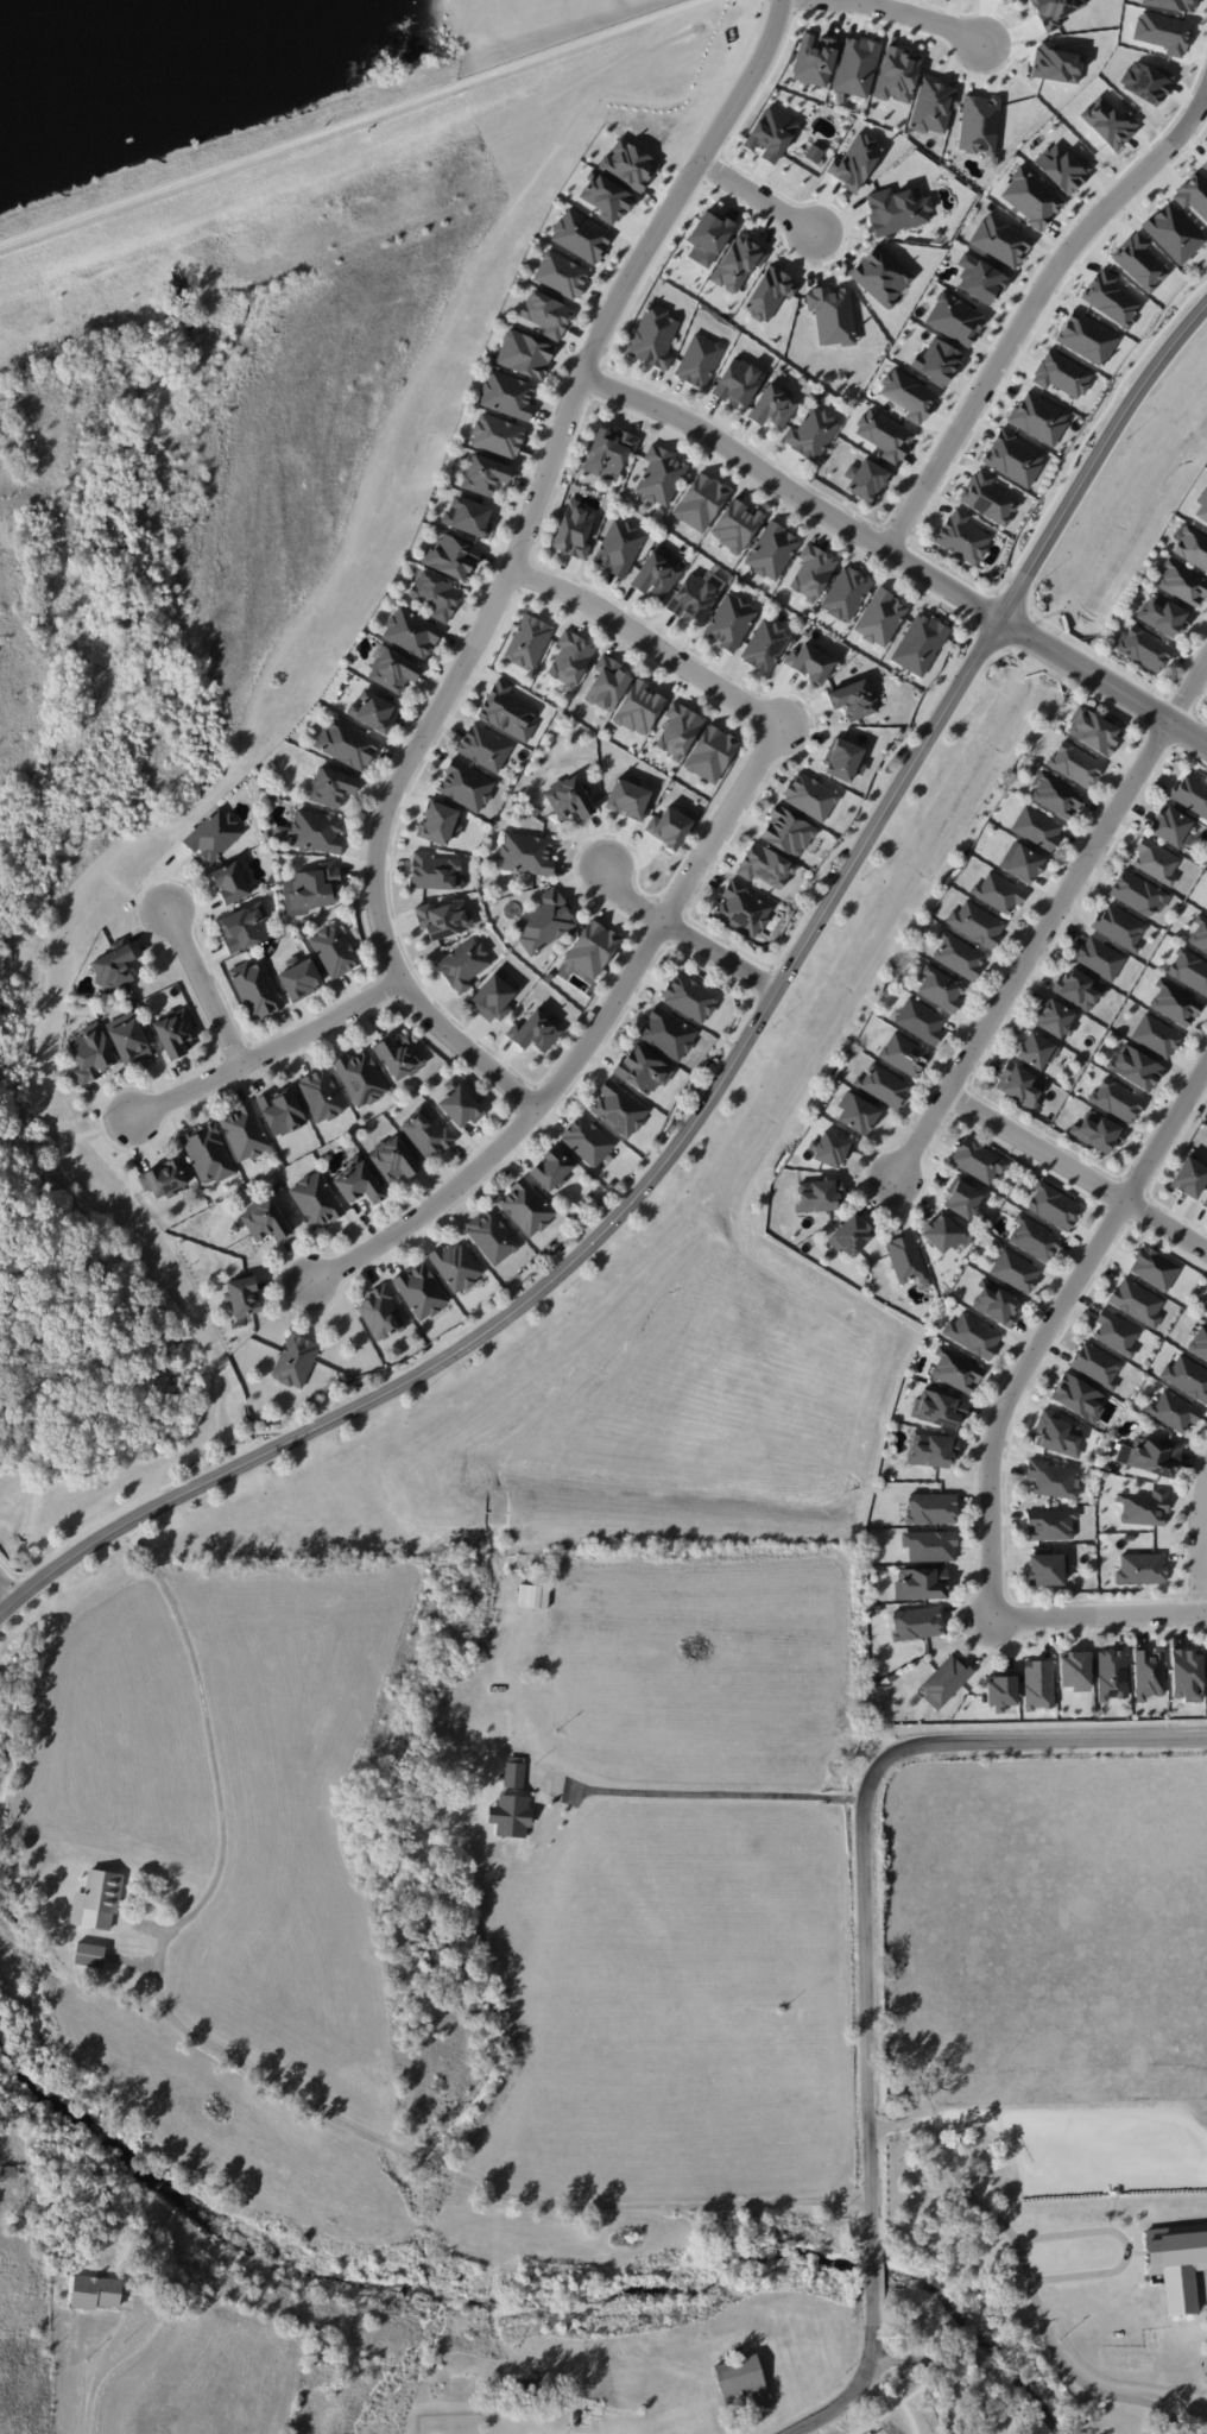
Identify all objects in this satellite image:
building: (1054, 11)
road: (916, 17)
building: (814, 59)
building: (855, 67)
building: (896, 75)
dam: (335, 99)
building: (933, 106)
road: (352, 122)
building: (979, 124)
building: (771, 133)
building: (854, 162)
building: (628, 166)
building: (1062, 168)
building: (1193, 194)
building: (602, 195)
road: (756, 196)
building: (1030, 197)
building: (897, 209)
building: (1173, 233)
building: (580, 235)
building: (708, 237)
building: (999, 240)
building: (1138, 261)
building: (738, 263)
building: (561, 275)
building: (880, 276)
building: (979, 279)
building: (769, 294)
road: (1036, 294)
building: (545, 314)
building: (832, 315)
building: (954, 319)
building: (653, 336)
building: (524, 354)
building: (699, 360)
building: (936, 361)
building: (1061, 374)
building: (738, 383)
building: (506, 395)
building: (772, 405)
building: (1037, 418)
building: (811, 433)
building: (884, 434)
building: (497, 435)
building: (608, 452)
building: (1012, 458)
building: (484, 474)
building: (659, 475)
building: (865, 480)
building: (987, 498)
building: (700, 502)
building: (1201, 506)
building: (467, 517)
building: (735, 525)
building: (574, 529)
building: (961, 536)
building: (619, 547)
building: (1192, 548)
building: (771, 550)
road: (896, 555)
building: (450, 556)
road: (510, 567)
building: (811, 572)
building: (656, 574)
building: (1181, 584)
building: (845, 593)
building: (435, 595)
building: (693, 598)
building: (1163, 616)
building: (880, 617)
building: (729, 622)
building: (411, 632)
building: (527, 642)
road: (644, 642)
building: (920, 644)
building: (765, 645)
building: (1144, 648)
building: (570, 658)
building: (809, 662)
building: (392, 670)
building: (606, 683)
building: (853, 699)
building: (639, 708)
building: (372, 711)
building: (507, 711)
building: (678, 730)
building: (1093, 731)
building: (346, 744)
building: (484, 748)
building: (710, 753)
building: (841, 759)
building: (1074, 764)
building: (466, 786)
building: (330, 787)
building: (1190, 794)
building: (809, 795)
building: (1055, 796)
building: (568, 799)
building: (627, 799)
building: (438, 824)
building: (1169, 826)
building: (1036, 828)
building: (317, 831)
building: (786, 832)
building: (280, 833)
building: (213, 835)
building: (525, 853)
building: (1155, 860)
building: (1022, 863)
building: (764, 866)
building: (434, 871)
building: (230, 882)
building: (310, 889)
building: (997, 893)
building: (1137, 894)
building: (742, 909)
road: (1053, 910)
building: (443, 919)
building: (544, 922)
building: (975, 923)
building: (244, 926)
building: (1119, 926)
road: (681, 934)
building: (1199, 934)
building: (592, 948)
building: (333, 950)
building: (958, 956)
building: (1099, 958)
building: (463, 964)
building: (113, 969)
building: (1189, 970)
building: (299, 978)
road: (203, 984)
building: (255, 989)
building: (940, 989)
building: (1078, 989)
building: (493, 996)
building: (689, 997)
building: (1174, 1003)
building: (1053, 1017)
building: (920, 1020)
building: (535, 1030)
building: (173, 1033)
building: (666, 1033)
building: (1155, 1035)
road: (588, 1038)
building: (127, 1039)
building: (1035, 1049)
road: (263, 1051)
building: (91, 1053)
building: (903, 1054)
building: (400, 1055)
building: (1135, 1067)
building: (642, 1070)
road: (723, 1077)
building: (360, 1078)
building: (881, 1085)
building: (1019, 1085)
building: (320, 1096)
building: (1116, 1099)
building: (459, 1104)
building: (619, 1108)
building: (280, 1111)
building: (858, 1115)
building: (1097, 1131)
building: (244, 1133)
building: (424, 1133)
building: (586, 1141)
building: (832, 1149)
building: (207, 1153)
building: (392, 1159)
building: (978, 1160)
building: (550, 1169)
road: (1076, 1169)
building: (1189, 1177)
building: (163, 1178)
building: (358, 1181)
building: (817, 1196)
building: (315, 1199)
building: (962, 1199)
building: (1205, 1204)
building: (1053, 1206)
building: (525, 1207)
building: (264, 1221)
building: (942, 1232)
building: (851, 1235)
building: (491, 1236)
building: (1032, 1238)
building: (905, 1259)
building: (455, 1266)
building: (1154, 1268)
building: (1015, 1270)
building: (419, 1291)
building: (241, 1295)
building: (1136, 1301)
building: (994, 1303)
building: (379, 1313)
building: (1205, 1313)
road: (1047, 1324)
building: (1116, 1331)
building: (972, 1335)
building: (1199, 1343)
building: (295, 1361)
building: (1095, 1364)
building: (955, 1370)
building: (1187, 1377)
building: (1078, 1398)
building: (940, 1410)
building: (1173, 1411)
building: (1056, 1434)
building: (931, 1450)
building: (1150, 1456)
building: (1051, 1478)
building: (1143, 1507)
building: (930, 1508)
building: (1050, 1524)
building: (930, 1545)
road: (1200, 1545)
building: (1045, 1566)
building: (1139, 1569)
building: (921, 1583)
building: (533, 1596)
road: (5, 1599)
road: (1098, 1613)
building: (916, 1622)
building: (1074, 1670)
building: (1148, 1673)
building: (1111, 1675)
building: (1186, 1675)
building: (943, 1681)
building: (1037, 1683)
building: (1000, 1689)
building: (513, 1774)
road: (710, 1793)
building: (510, 1815)
building: (96, 1900)
road: (866, 1950)
building: (89, 1955)
road: (259, 2073)
road: (1119, 2244)
building: (1177, 2263)
road: (1029, 2274)
building: (95, 2291)
road: (106, 2365)
road: (939, 2370)

